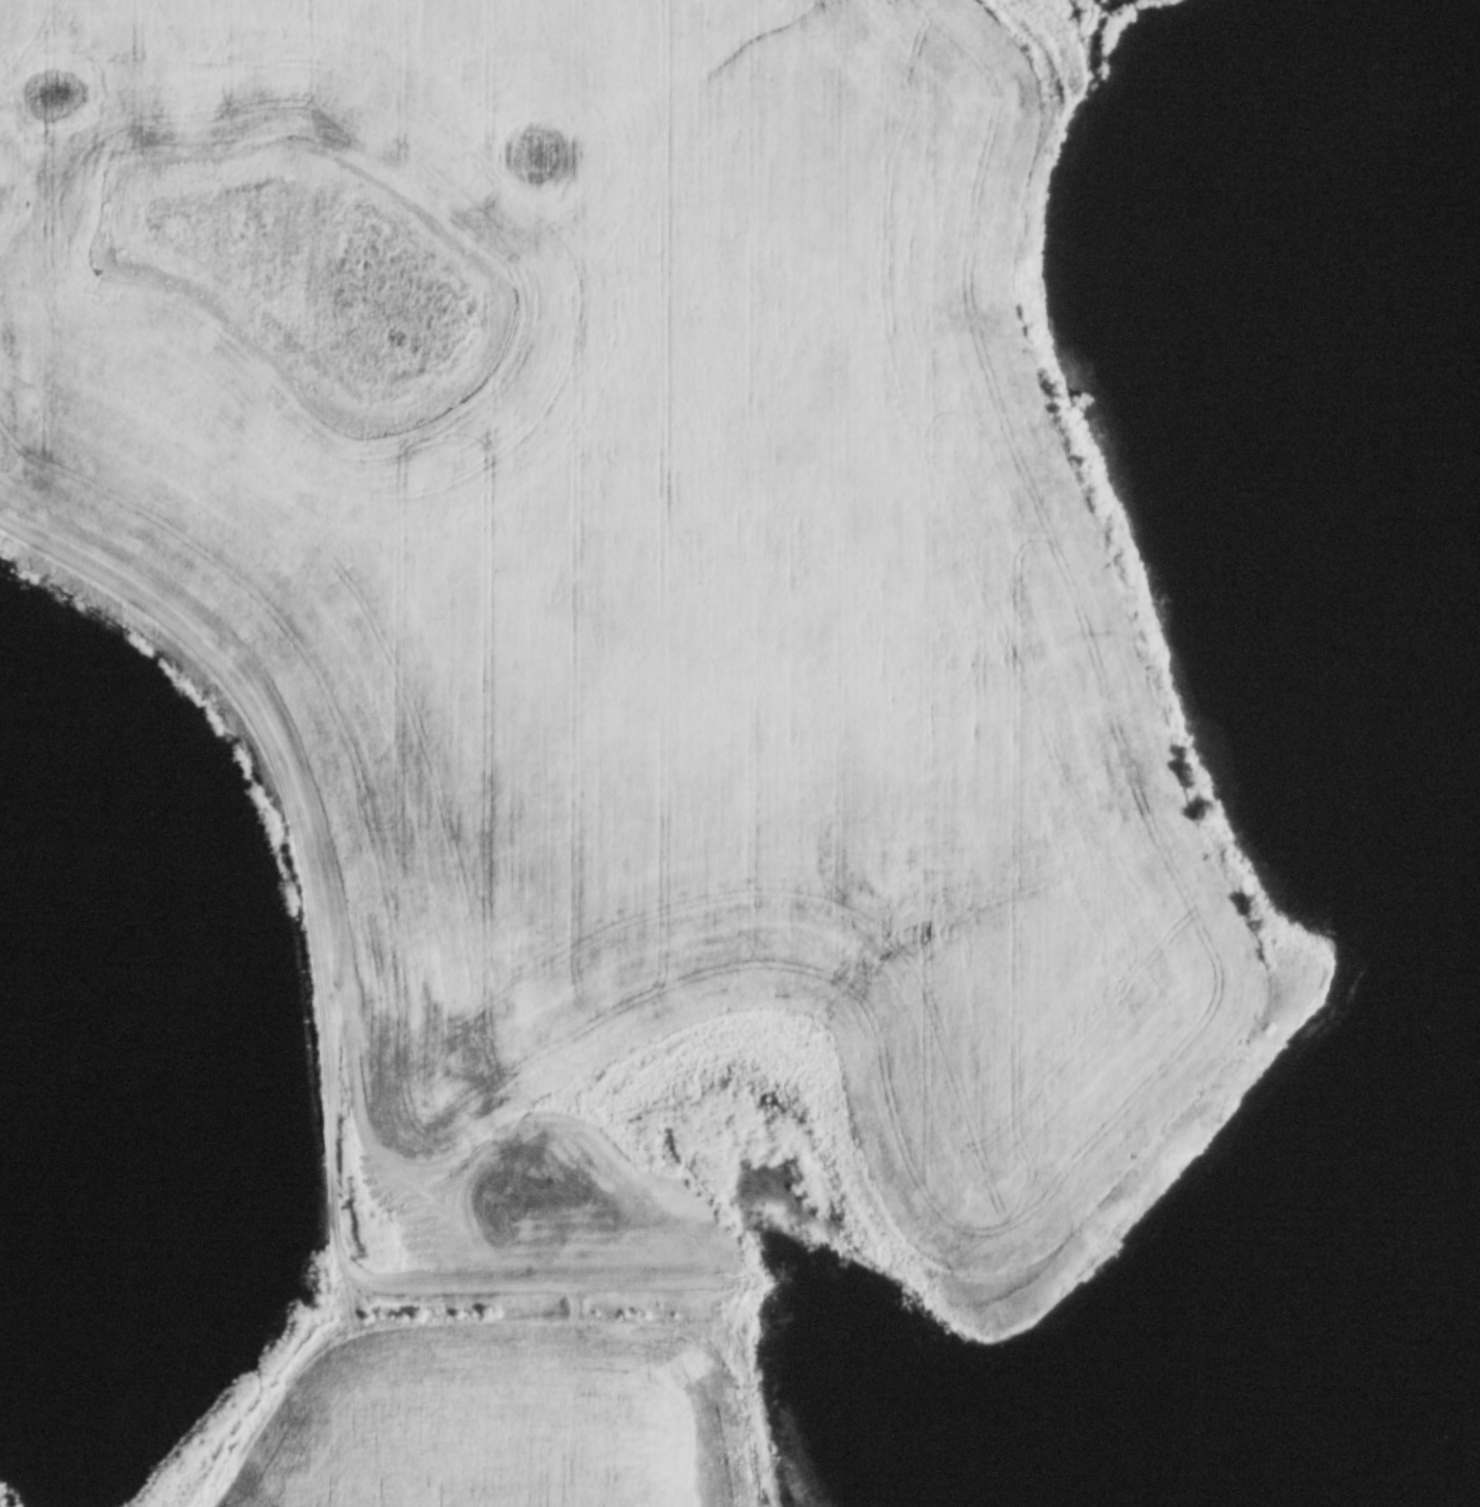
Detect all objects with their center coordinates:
road: (299, 832)
road: (477, 1292)

